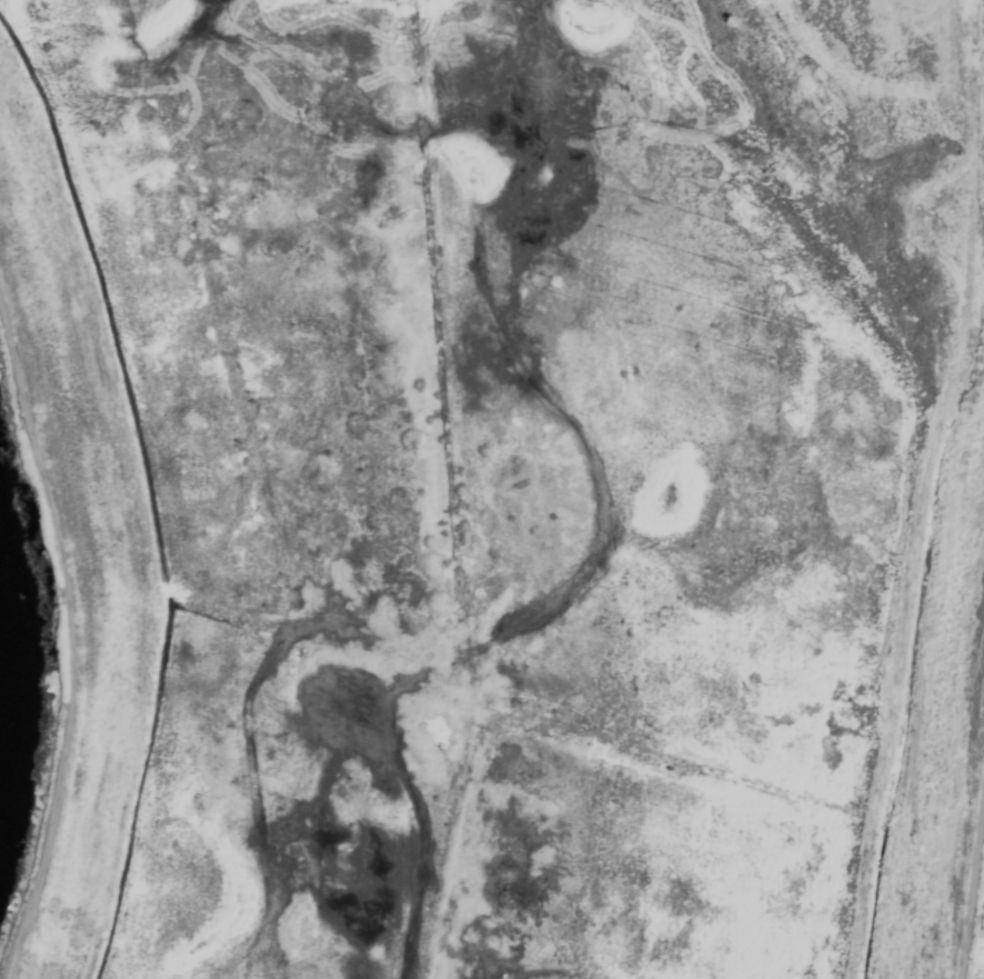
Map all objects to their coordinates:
crop: (504, 486)

